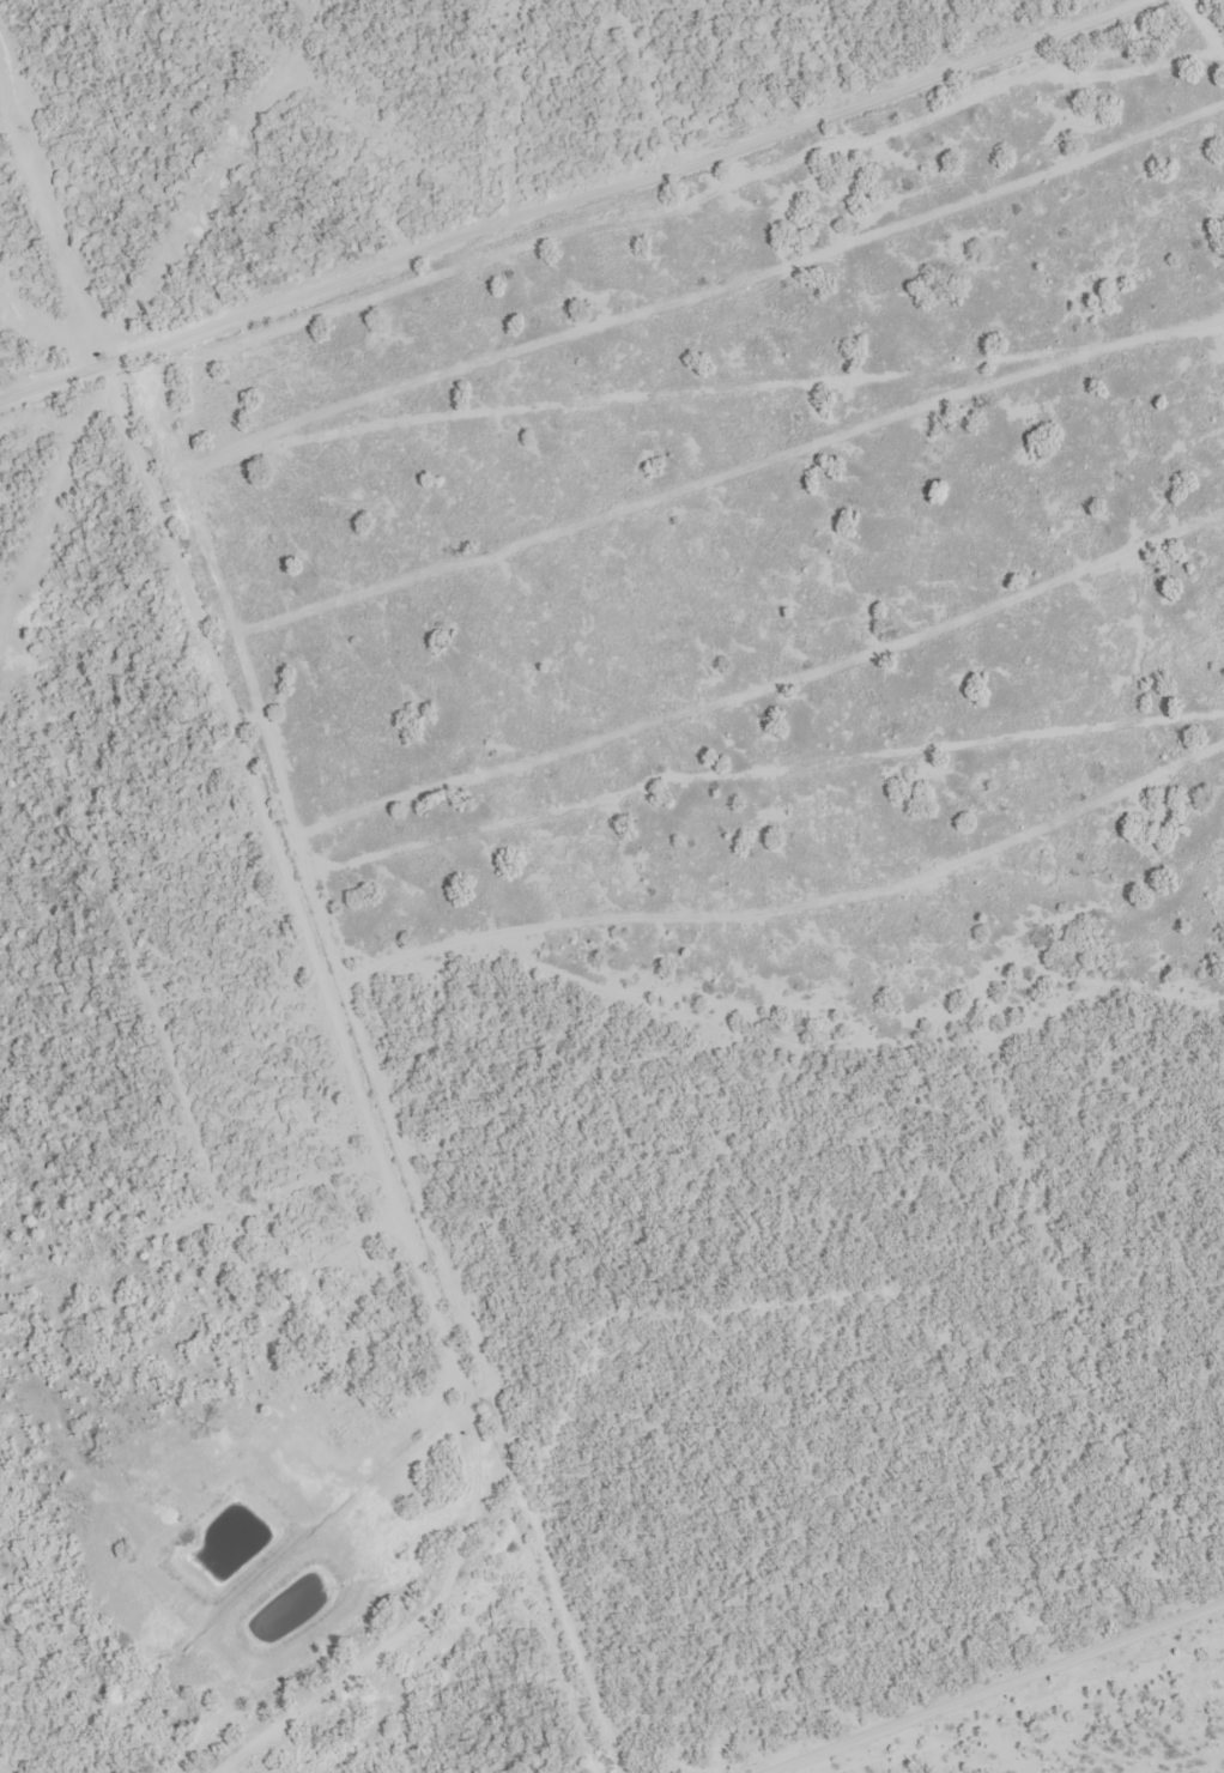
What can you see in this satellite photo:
road: (1013, 54)
road: (517, 226)

